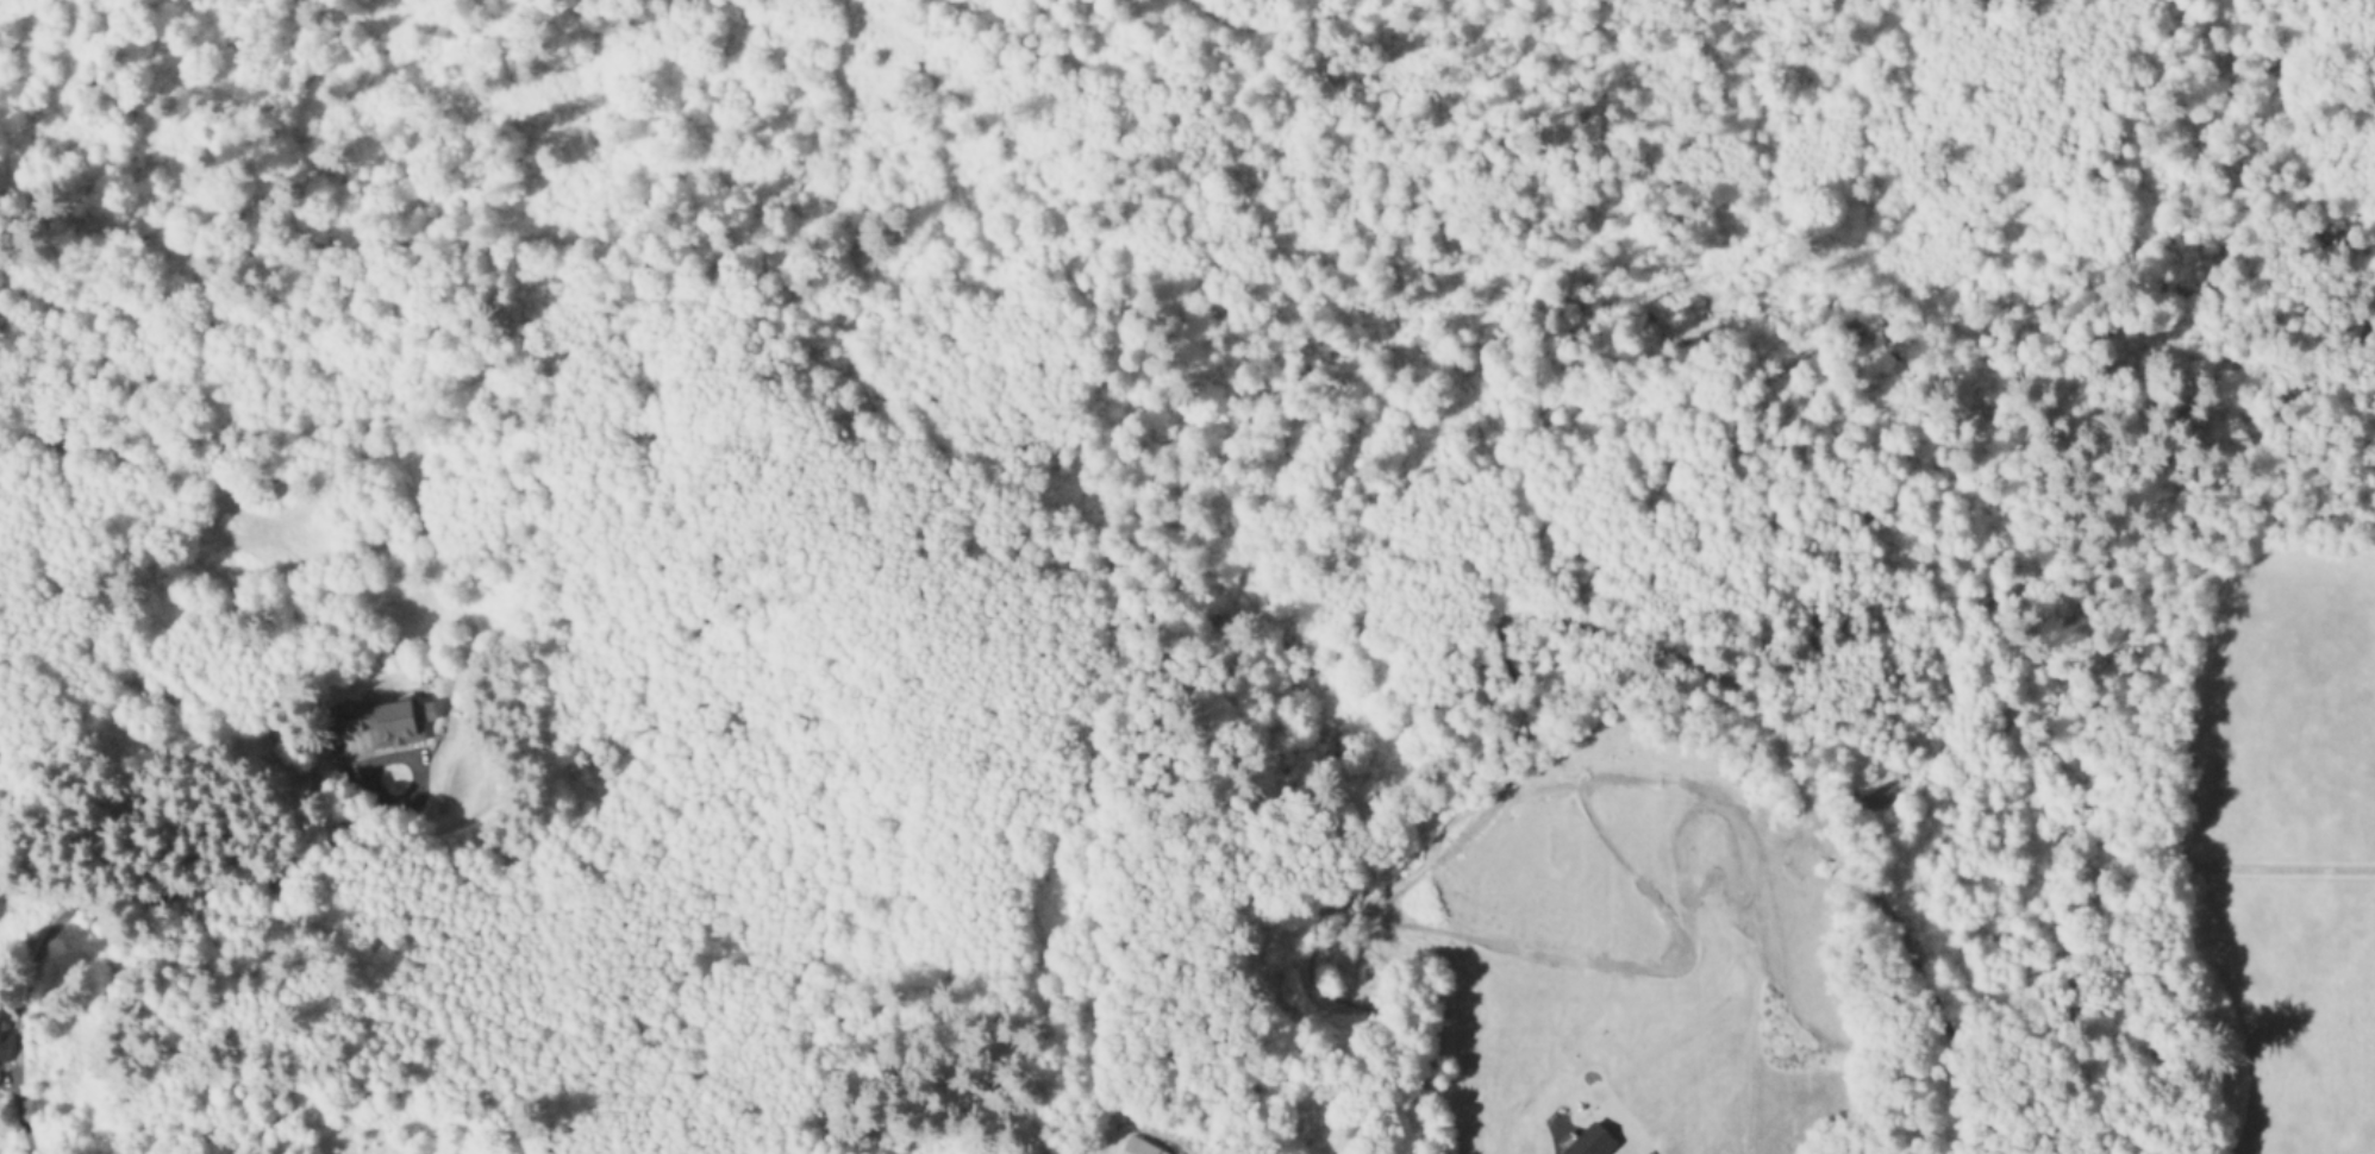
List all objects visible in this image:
building: (385, 722)
building: (4, 1041)
building: (1590, 1142)
building: (1138, 1147)

